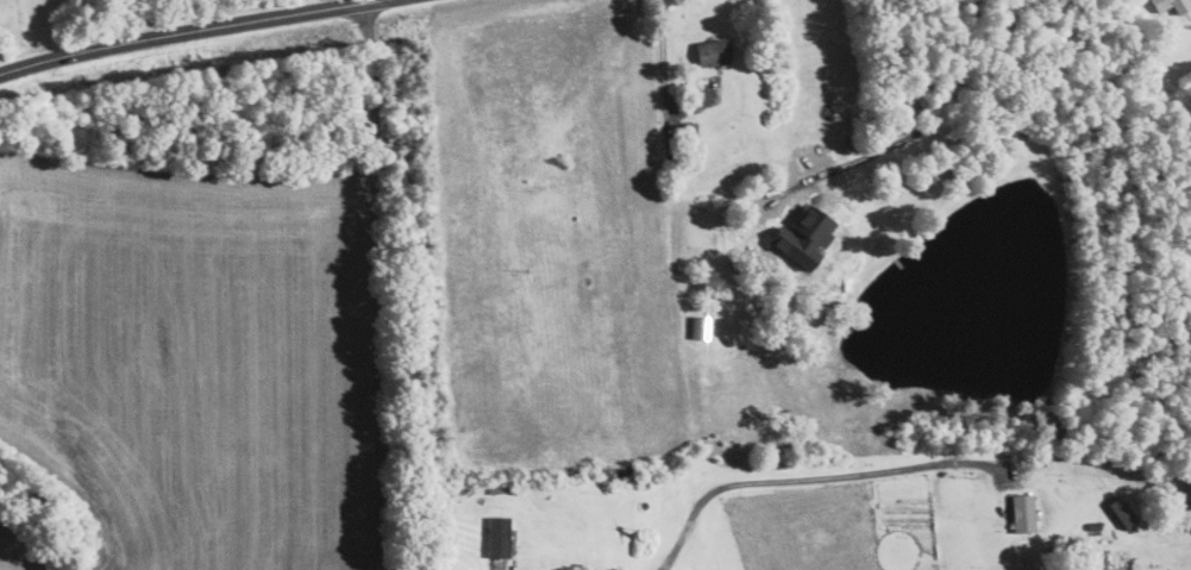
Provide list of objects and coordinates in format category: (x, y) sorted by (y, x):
building: (1172, 5)
road: (192, 32)
building: (713, 52)
road: (665, 73)
road: (879, 165)
road: (378, 281)
road: (865, 477)
building: (1122, 513)
building: (1023, 514)
building: (499, 537)
road: (384, 557)

